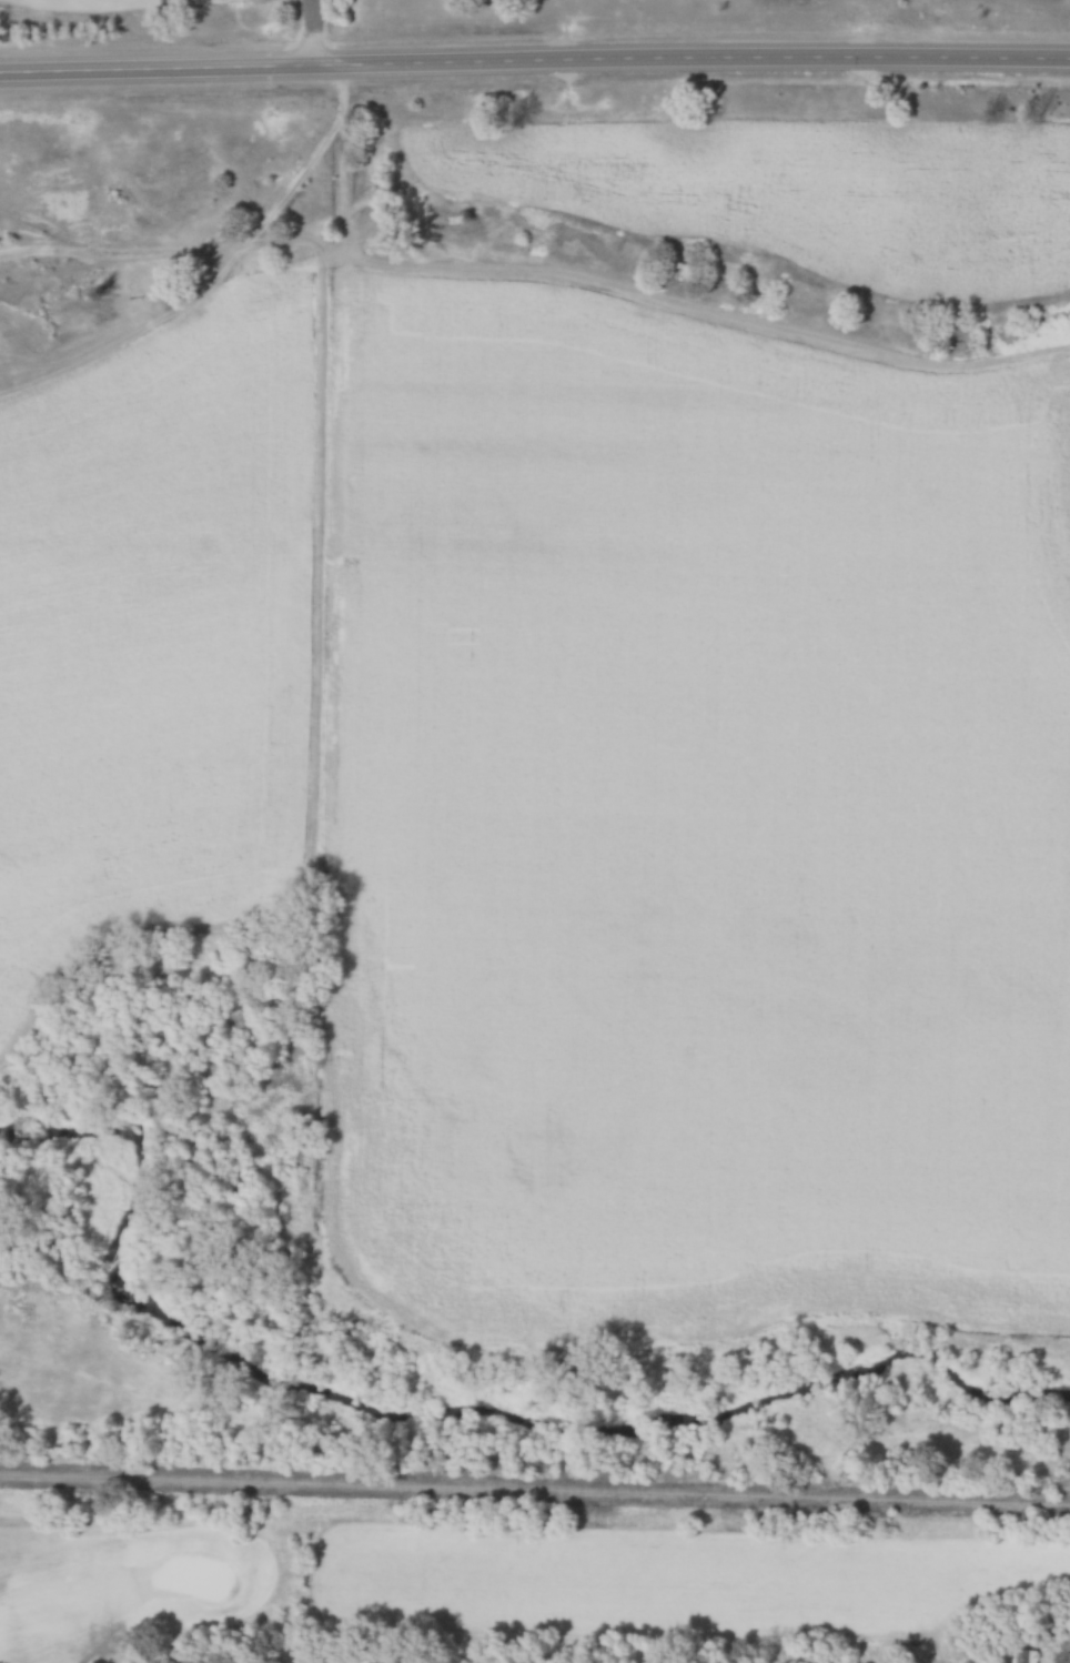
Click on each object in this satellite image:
road: (534, 58)
road: (327, 593)
crop: (151, 625)
crop: (709, 823)
railway: (535, 1475)
building: (1022, 1655)

